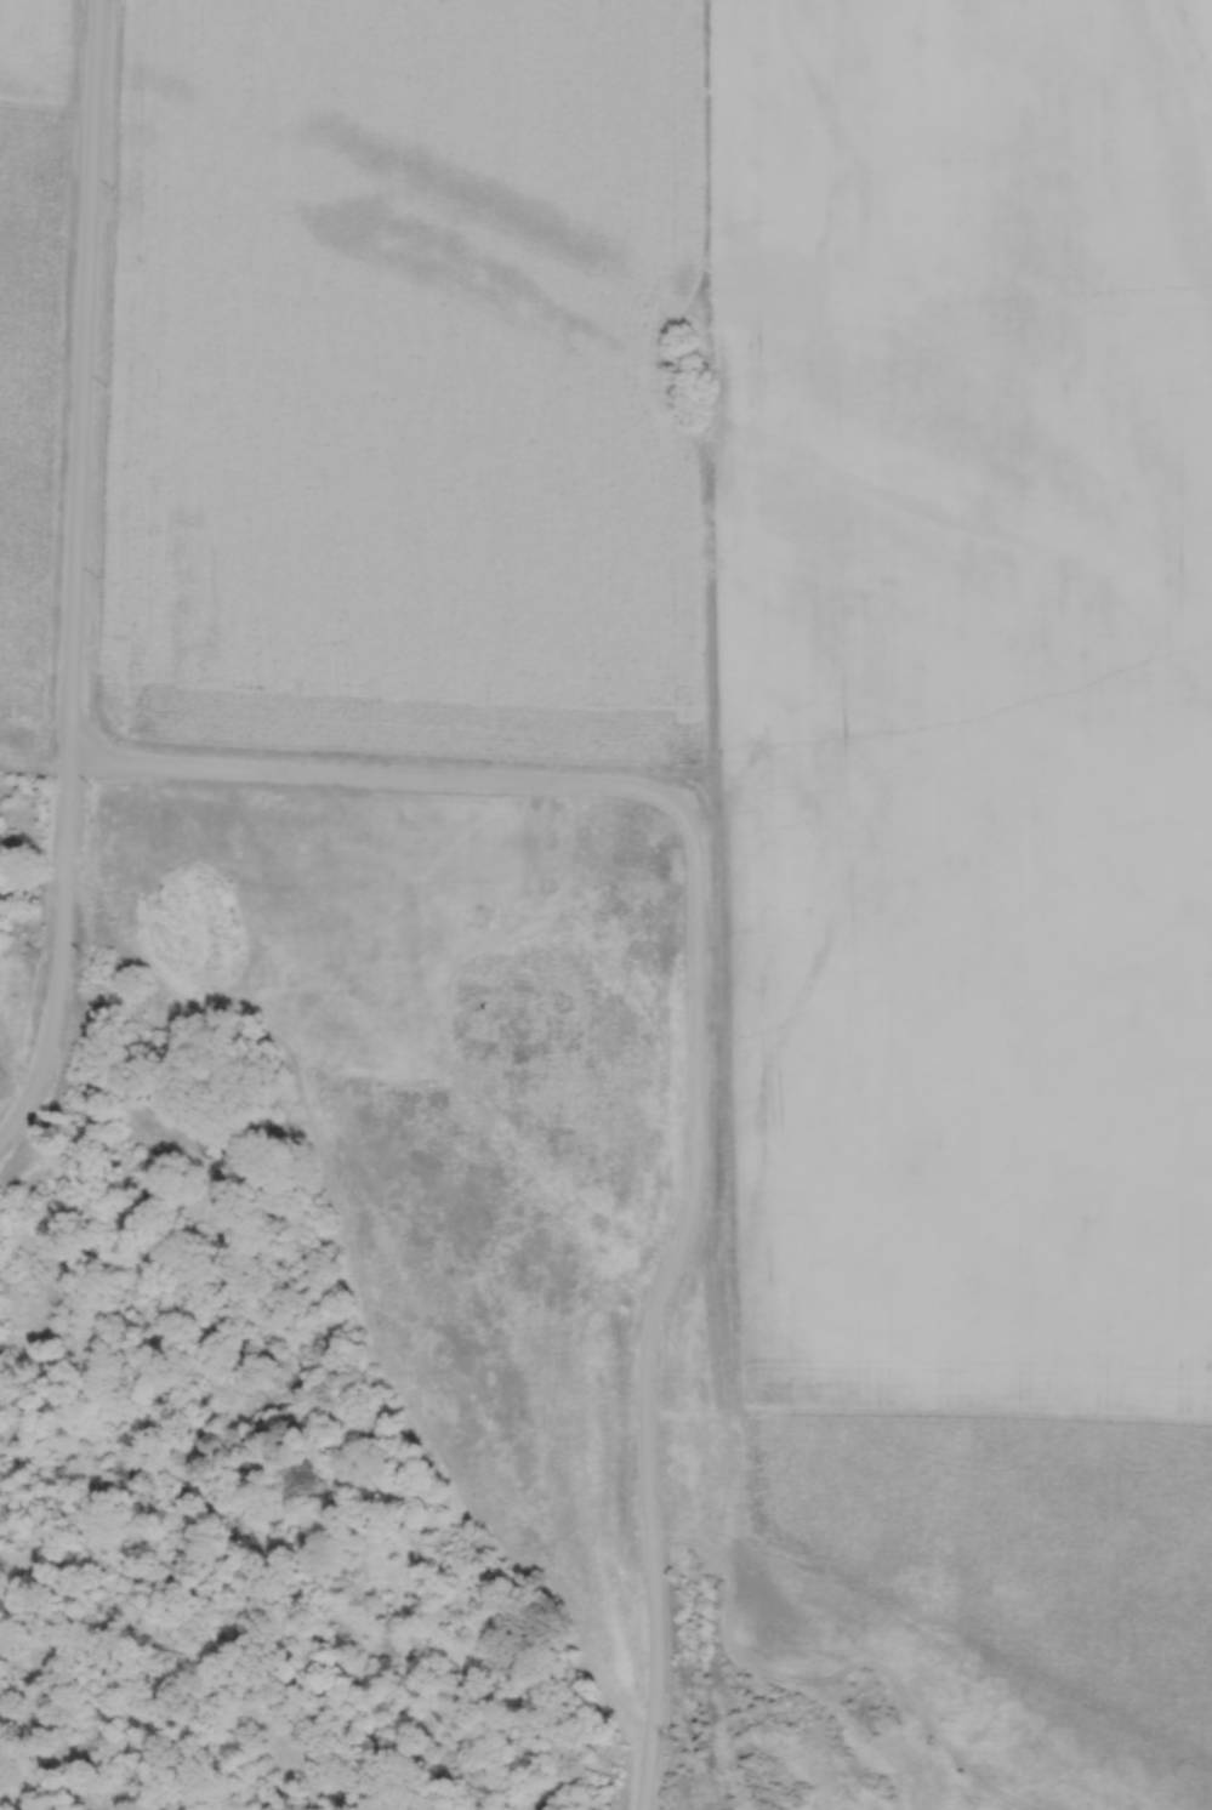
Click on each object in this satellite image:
road: (75, 579)
road: (698, 1000)

